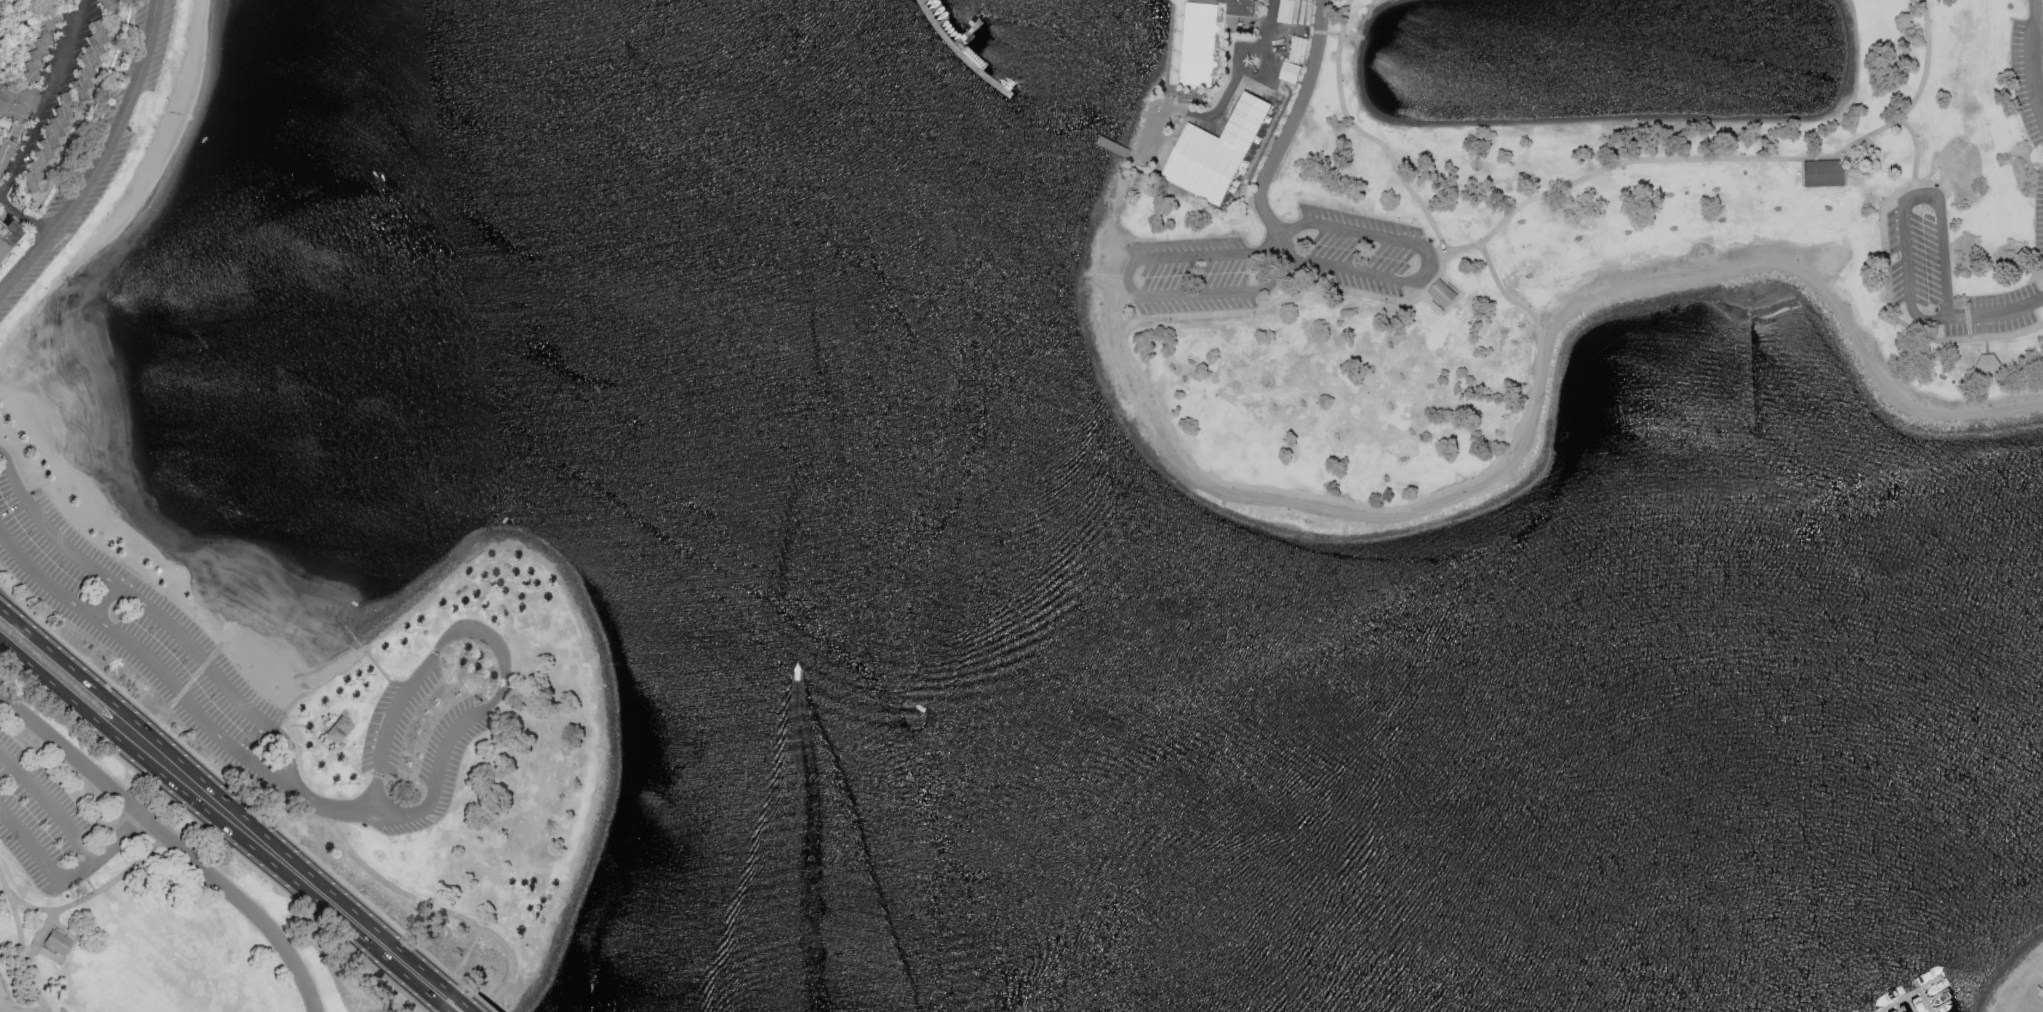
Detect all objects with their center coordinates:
building: (104, 2)
road: (1274, 25)
building: (1204, 39)
pier: (975, 42)
building: (1297, 48)
building: (90, 51)
pier: (962, 53)
road: (2033, 58)
building: (1288, 70)
road: (47, 98)
building: (17, 101)
road: (1292, 121)
road: (1366, 134)
building: (47, 146)
building: (1211, 151)
road: (1746, 159)
road: (103, 160)
parking lot: (2040, 174)
building: (1824, 175)
road: (1181, 178)
road: (1914, 197)
road: (24, 223)
building: (6, 233)
park: (1569, 237)
road: (1288, 250)
road: (1428, 255)
road: (1941, 259)
parking lot: (1279, 263)
road: (1131, 286)
road: (1885, 288)
building: (1444, 294)
road: (1929, 320)
building: (1989, 365)
road: (1538, 379)
road: (48, 529)
road: (110, 603)
parking lot: (144, 630)
road: (223, 682)
road: (177, 684)
road: (501, 694)
building: (342, 732)
park: (469, 774)
road: (232, 786)
road: (228, 798)
road: (52, 803)
parking lot: (49, 821)
road: (222, 823)
road: (216, 834)
road: (172, 844)
road: (64, 881)
park: (146, 892)
road: (95, 896)
road: (439, 908)
road: (41, 937)
road: (24, 941)
building: (60, 945)
pier: (1913, 995)
road: (481, 999)
pier: (1927, 1001)
road: (467, 1003)
road: (448, 1010)

